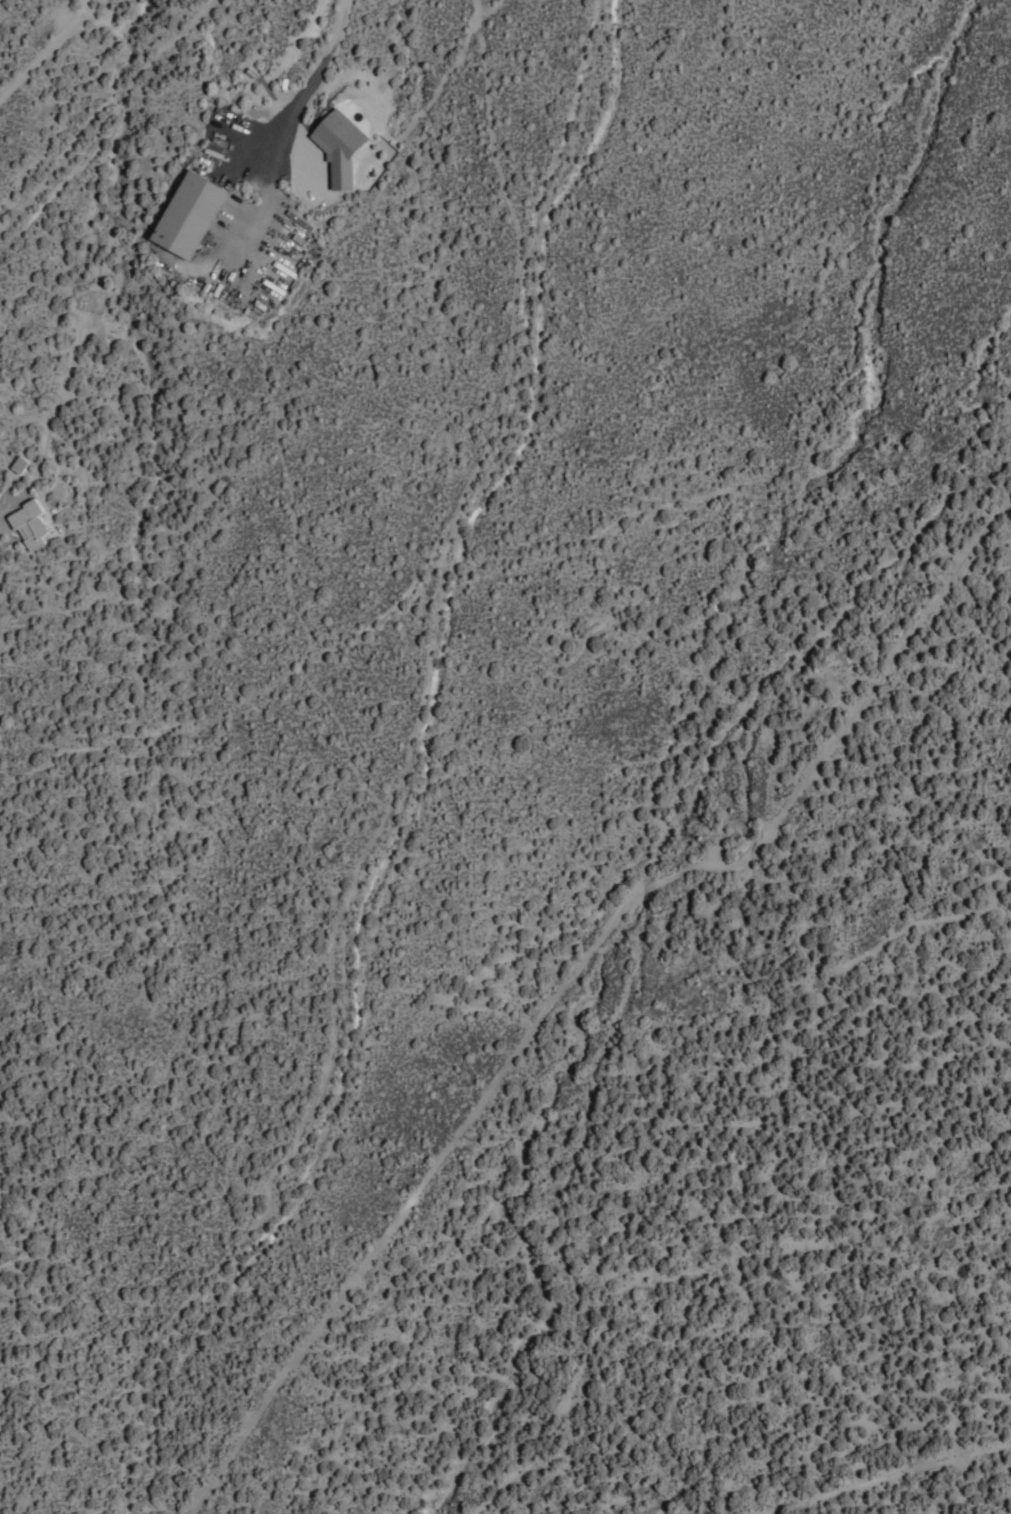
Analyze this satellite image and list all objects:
road: (44, 47)
road: (305, 79)
building: (337, 145)
building: (192, 212)
building: (19, 463)
building: (28, 524)

